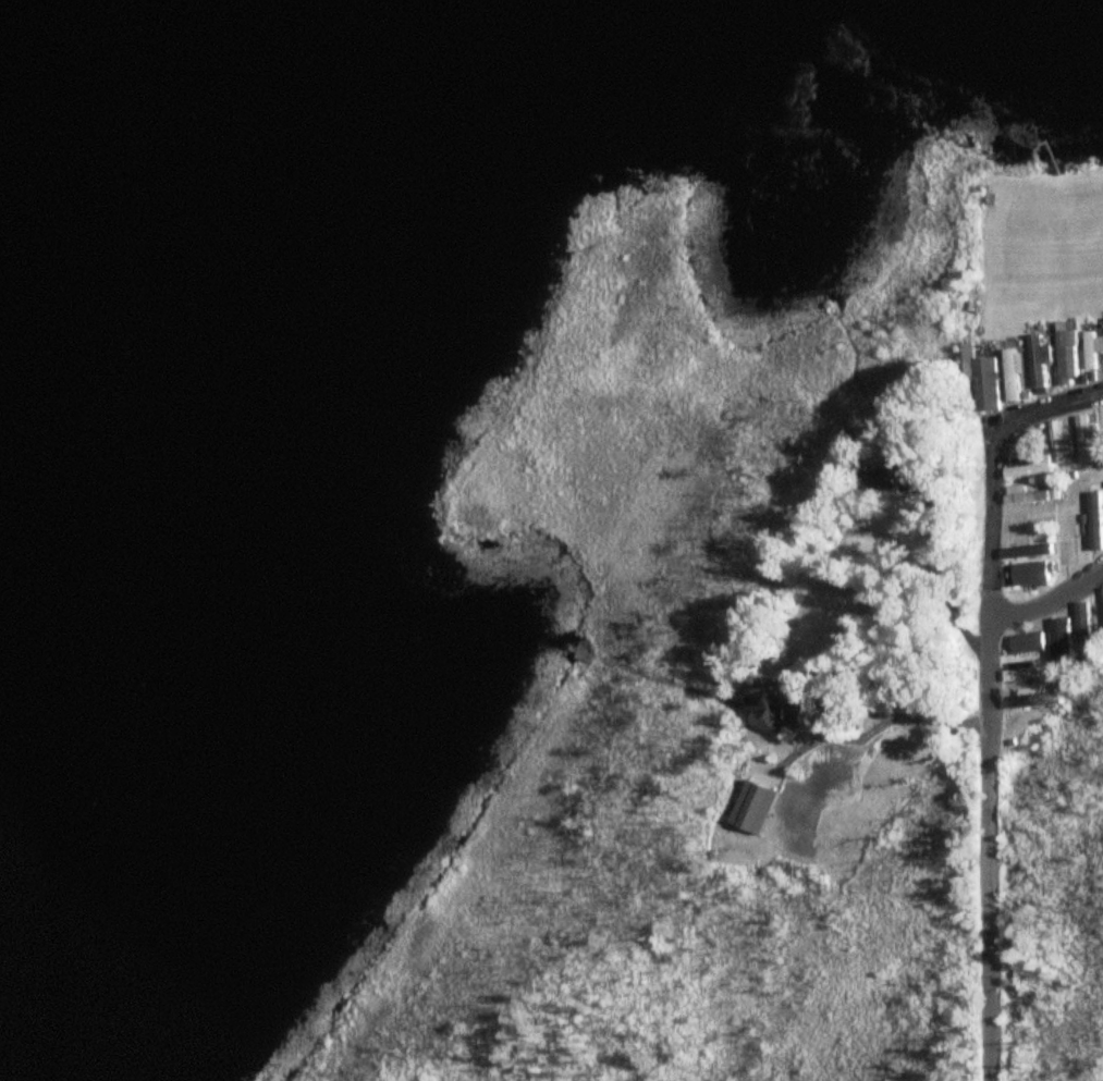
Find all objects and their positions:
building: (1091, 349)
building: (1067, 358)
building: (1037, 363)
building: (1013, 376)
building: (985, 385)
building: (1102, 411)
building: (1086, 437)
building: (1058, 443)
building: (1027, 467)
building: (892, 476)
building: (1026, 496)
building: (1094, 521)
building: (1025, 552)
building: (1030, 575)
road: (944, 584)
road: (1052, 603)
building: (1061, 639)
road: (989, 699)
road: (859, 701)
building: (782, 710)

